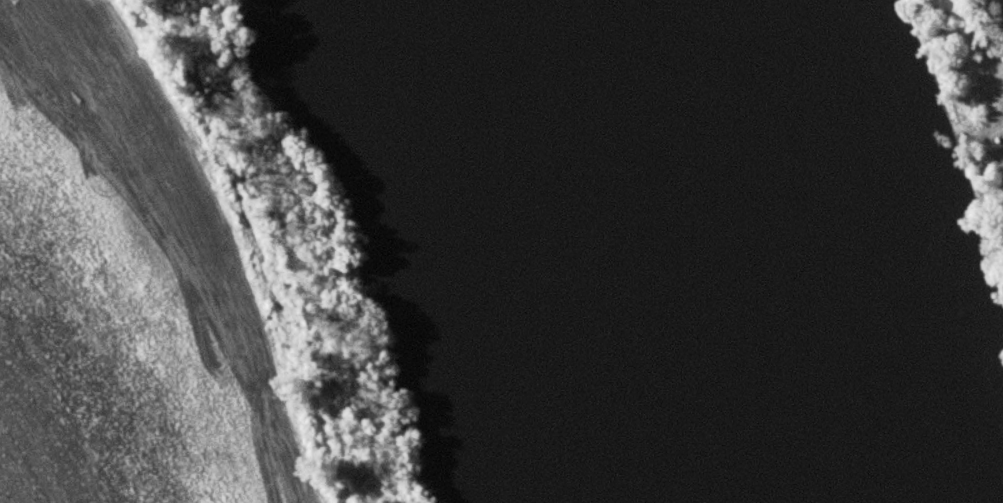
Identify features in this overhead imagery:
building: (1000, 137)
river: (738, 242)

